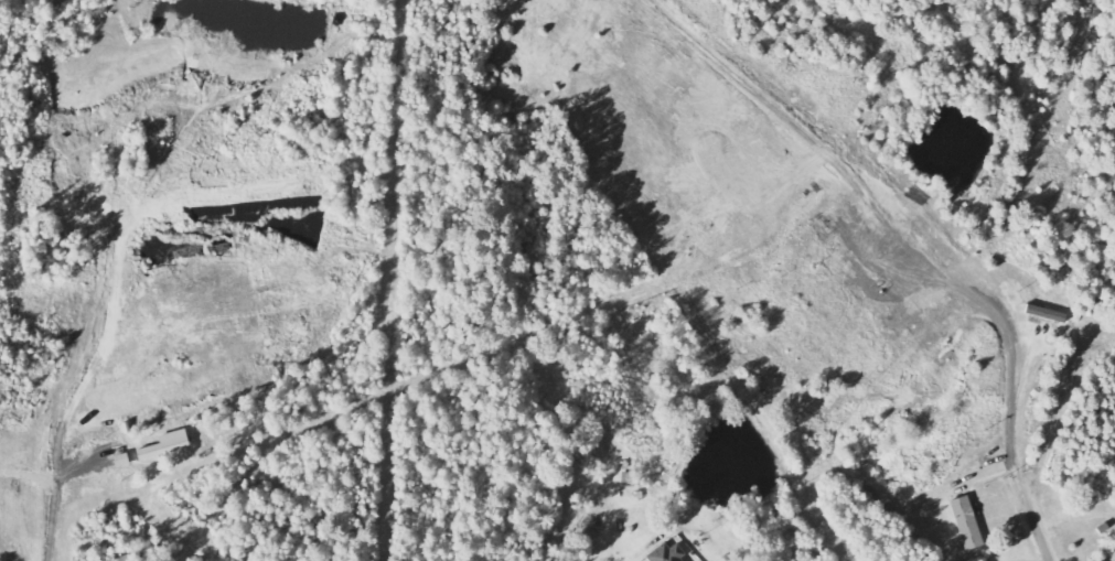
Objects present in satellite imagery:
road: (862, 194)
building: (176, 442)
building: (151, 453)
road: (1022, 493)
road: (56, 499)
building: (966, 524)
building: (664, 554)
building: (124, 559)

